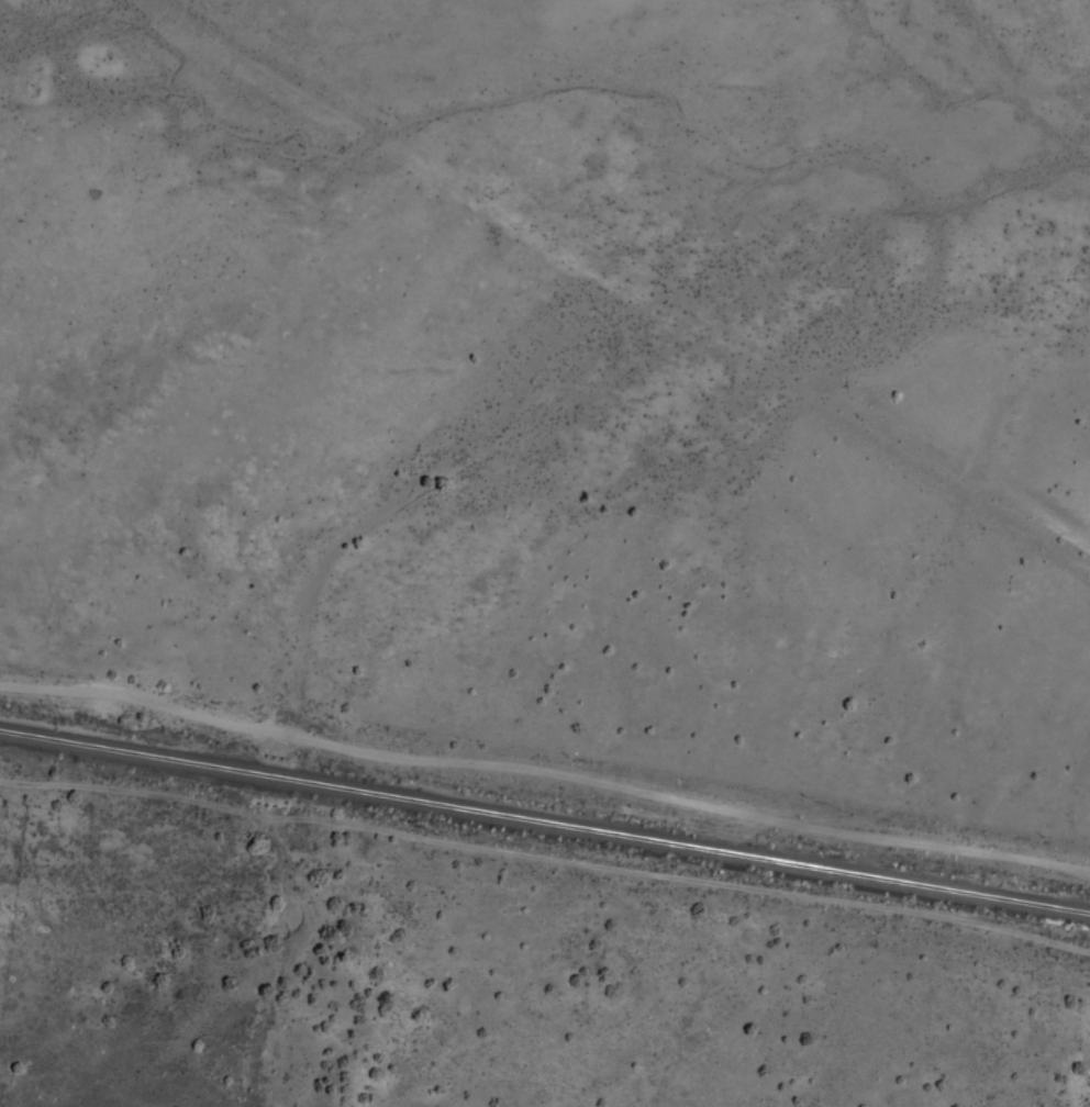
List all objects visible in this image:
railway: (544, 823)

